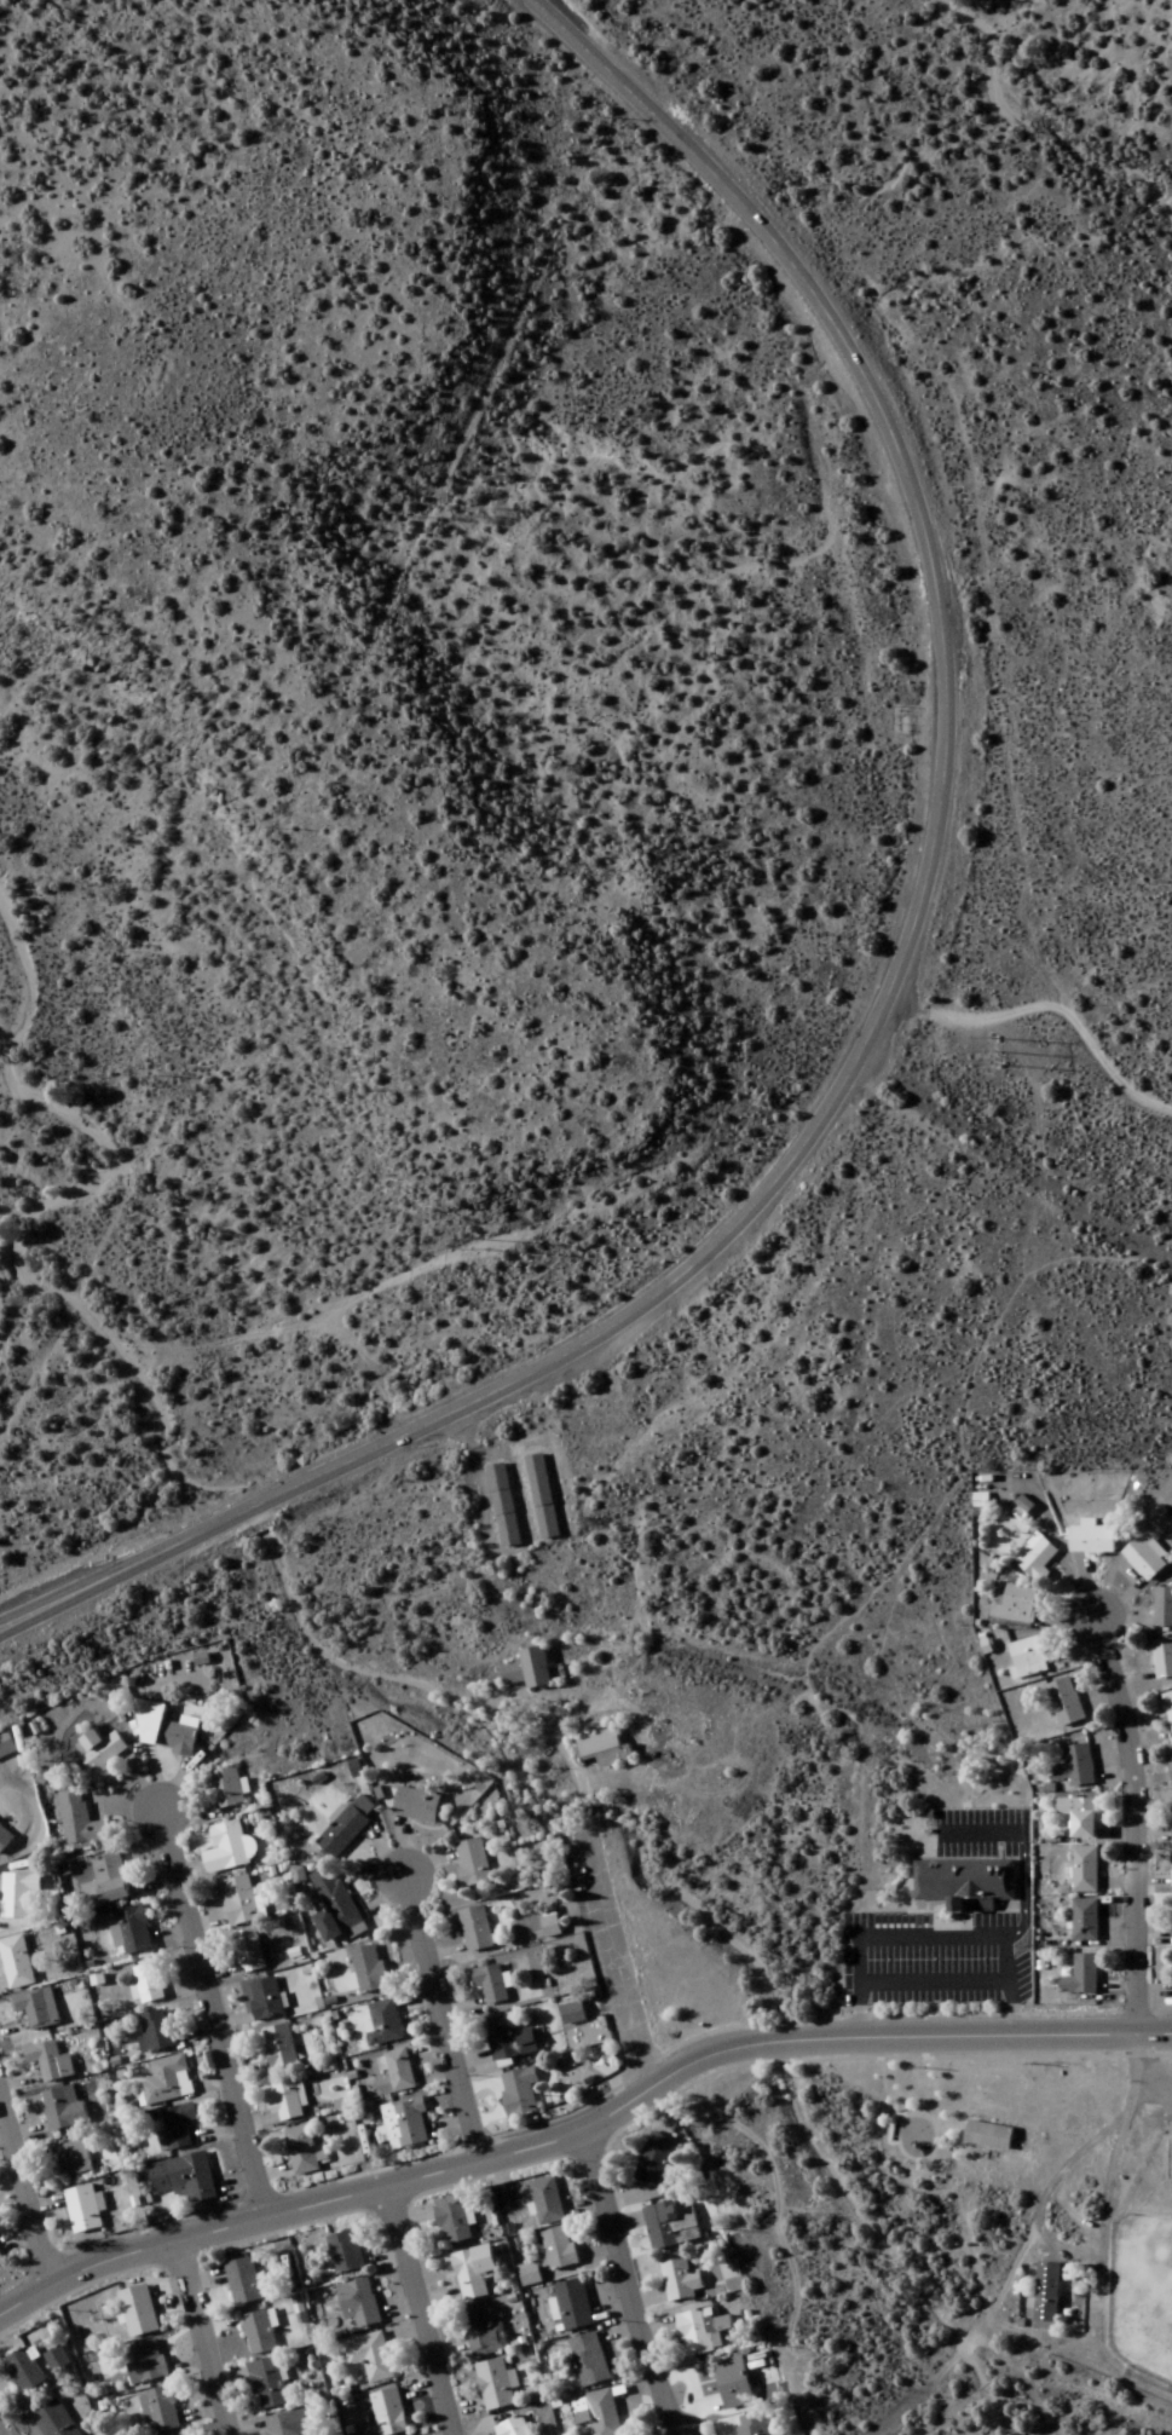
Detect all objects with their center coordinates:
road: (1006, 720)
road: (896, 983)
road: (1047, 1005)
building: (539, 1496)
building: (500, 1505)
building: (1090, 1539)
building: (1034, 1557)
building: (1143, 1559)
building: (1014, 1604)
building: (1162, 1608)
building: (1024, 1658)
building: (1162, 1658)
building: (526, 1669)
building: (1063, 1702)
building: (1168, 1709)
building: (148, 1723)
building: (177, 1737)
building: (5, 1748)
building: (602, 1749)
building: (99, 1754)
building: (1170, 1758)
building: (1078, 1767)
building: (224, 1788)
building: (415, 1805)
building: (1078, 1816)
building: (1170, 1818)
building: (77, 1824)
road: (1136, 1825)
building: (343, 1828)
building: (4, 1839)
building: (226, 1848)
building: (472, 1863)
building: (1170, 1869)
building: (1082, 1870)
building: (962, 1880)
building: (104, 1882)
building: (16, 1894)
building: (238, 1902)
building: (333, 1905)
building: (1082, 1920)
building: (1171, 1921)
building: (549, 1927)
building: (132, 1929)
building: (474, 1929)
building: (248, 1952)
road: (622, 1954)
parking lot: (936, 1960)
building: (16, 1963)
building: (368, 1968)
building: (1079, 1977)
building: (146, 1984)
building: (489, 1984)
building: (264, 2001)
building: (35, 2008)
building: (571, 2014)
road: (213, 2015)
road: (444, 2023)
building: (382, 2024)
building: (156, 2031)
building: (507, 2038)
building: (278, 2047)
building: (45, 2061)
building: (399, 2071)
building: (164, 2083)
building: (516, 2094)
building: (287, 2100)
building: (63, 2110)
building: (406, 2122)
building: (177, 2127)
road: (581, 2130)
building: (980, 2130)
building: (304, 2152)
building: (71, 2157)
building: (653, 2160)
building: (190, 2180)
road: (25, 2193)
building: (545, 2202)
building: (81, 2210)
building: (452, 2226)
building: (669, 2226)
building: (556, 2249)
building: (343, 2252)
building: (0, 2263)
building: (472, 2272)
building: (677, 2278)
building: (242, 2281)
road: (627, 2283)
building: (1045, 2292)
building: (358, 2304)
building: (572, 2306)
building: (137, 2312)
road: (425, 2312)
building: (481, 2332)
building: (700, 2332)
building: (258, 2333)
road: (203, 2337)
building: (369, 2356)
building: (54, 2360)
building: (588, 2360)
building: (143, 2362)
building: (23, 2371)
building: (732, 2384)
building: (266, 2385)
building: (495, 2385)
building: (162, 2410)
building: (387, 2413)
building: (604, 2413)
building: (53, 2420)
building: (281, 2424)
building: (750, 2425)
building: (512, 2428)

